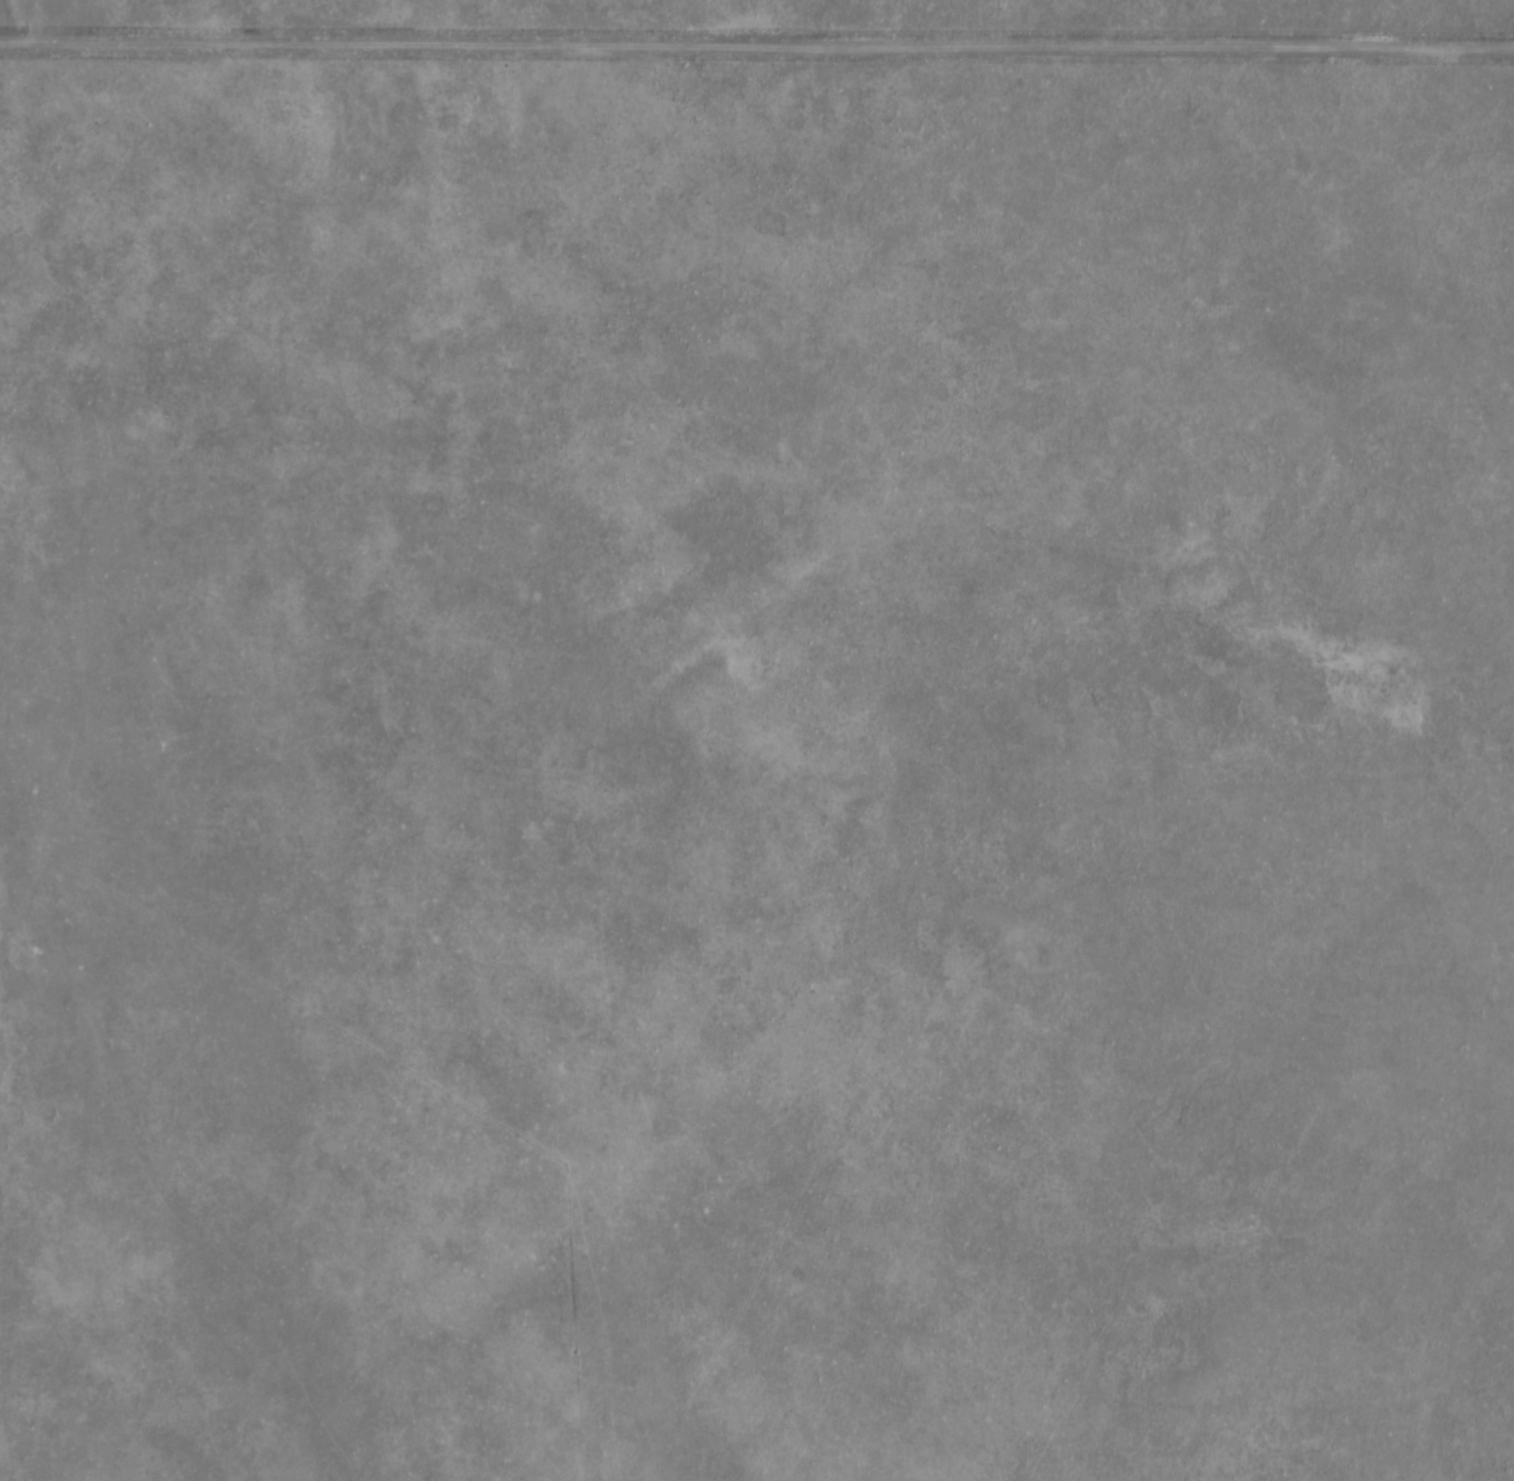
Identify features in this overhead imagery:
road: (757, 43)

